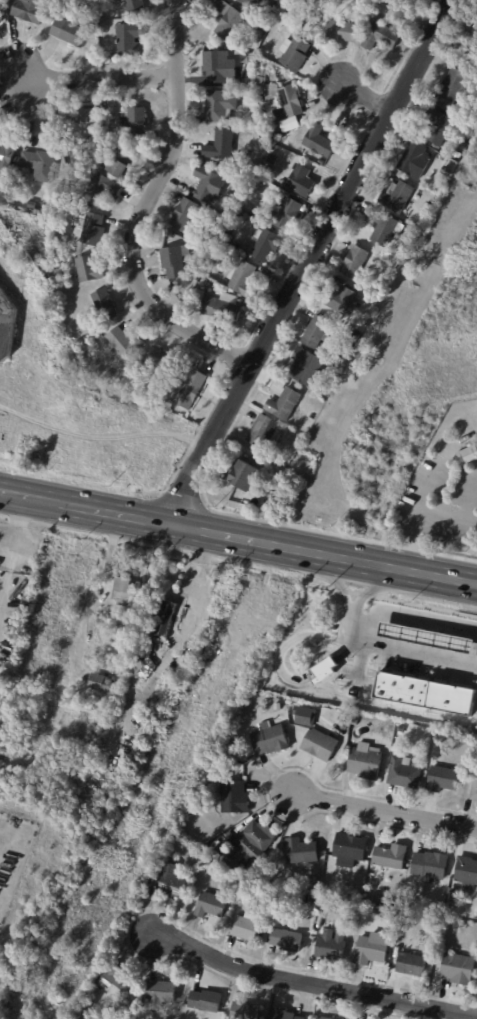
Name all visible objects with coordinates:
building: (133, 4)
building: (261, 6)
building: (28, 10)
building: (0, 16)
building: (229, 21)
building: (263, 24)
building: (476, 27)
building: (67, 31)
building: (342, 31)
building: (380, 36)
building: (128, 39)
building: (293, 53)
building: (216, 68)
road: (96, 78)
building: (260, 78)
building: (454, 90)
building: (270, 92)
building: (259, 94)
road: (366, 98)
building: (291, 100)
building: (218, 105)
building: (80, 122)
building: (135, 122)
building: (439, 127)
building: (285, 129)
building: (262, 135)
building: (318, 141)
building: (463, 144)
building: (219, 145)
building: (453, 153)
building: (6, 154)
building: (84, 155)
building: (271, 159)
building: (413, 160)
building: (320, 162)
building: (38, 164)
building: (118, 164)
building: (446, 170)
building: (264, 172)
building: (298, 180)
building: (208, 184)
building: (99, 189)
building: (396, 196)
building: (30, 205)
building: (46, 208)
road: (143, 210)
building: (183, 214)
building: (284, 214)
building: (243, 215)
building: (235, 220)
building: (382, 227)
building: (92, 230)
building: (167, 234)
building: (411, 236)
building: (226, 239)
building: (265, 245)
building: (244, 248)
building: (235, 254)
road: (308, 260)
building: (68, 262)
building: (172, 262)
building: (354, 262)
building: (210, 266)
building: (87, 269)
building: (241, 279)
building: (201, 280)
building: (215, 286)
building: (212, 293)
building: (199, 295)
building: (341, 300)
building: (103, 305)
building: (187, 305)
building: (221, 309)
building: (372, 309)
building: (6, 326)
building: (316, 332)
building: (353, 338)
building: (122, 343)
building: (161, 360)
building: (306, 367)
building: (107, 374)
building: (277, 386)
building: (188, 390)
building: (319, 395)
building: (283, 404)
building: (311, 416)
building: (264, 432)
building: (467, 456)
building: (244, 476)
road: (471, 502)
road: (415, 513)
road: (238, 536)
road: (343, 583)
road: (373, 585)
road: (196, 586)
building: (122, 589)
building: (164, 617)
building: (157, 638)
road: (405, 647)
building: (141, 664)
building: (173, 667)
building: (416, 671)
building: (99, 682)
building: (334, 690)
building: (277, 706)
building: (292, 708)
building: (303, 715)
building: (340, 717)
building: (400, 728)
building: (138, 734)
building: (455, 737)
building: (269, 738)
building: (319, 744)
building: (476, 750)
building: (111, 755)
building: (364, 761)
building: (403, 772)
building: (442, 778)
building: (474, 787)
building: (233, 796)
road: (382, 811)
building: (180, 842)
building: (251, 843)
building: (349, 849)
building: (300, 851)
building: (390, 856)
building: (430, 865)
building: (466, 871)
building: (168, 881)
building: (296, 891)
building: (342, 891)
building: (450, 896)
building: (388, 902)
building: (410, 902)
building: (327, 904)
building: (210, 905)
building: (379, 909)
building: (408, 915)
building: (246, 929)
building: (285, 940)
building: (329, 946)
building: (371, 948)
building: (409, 966)
building: (458, 968)
road: (310, 981)
building: (113, 982)
building: (159, 994)
building: (204, 1001)
building: (244, 1011)
building: (284, 1015)
building: (323, 1018)

